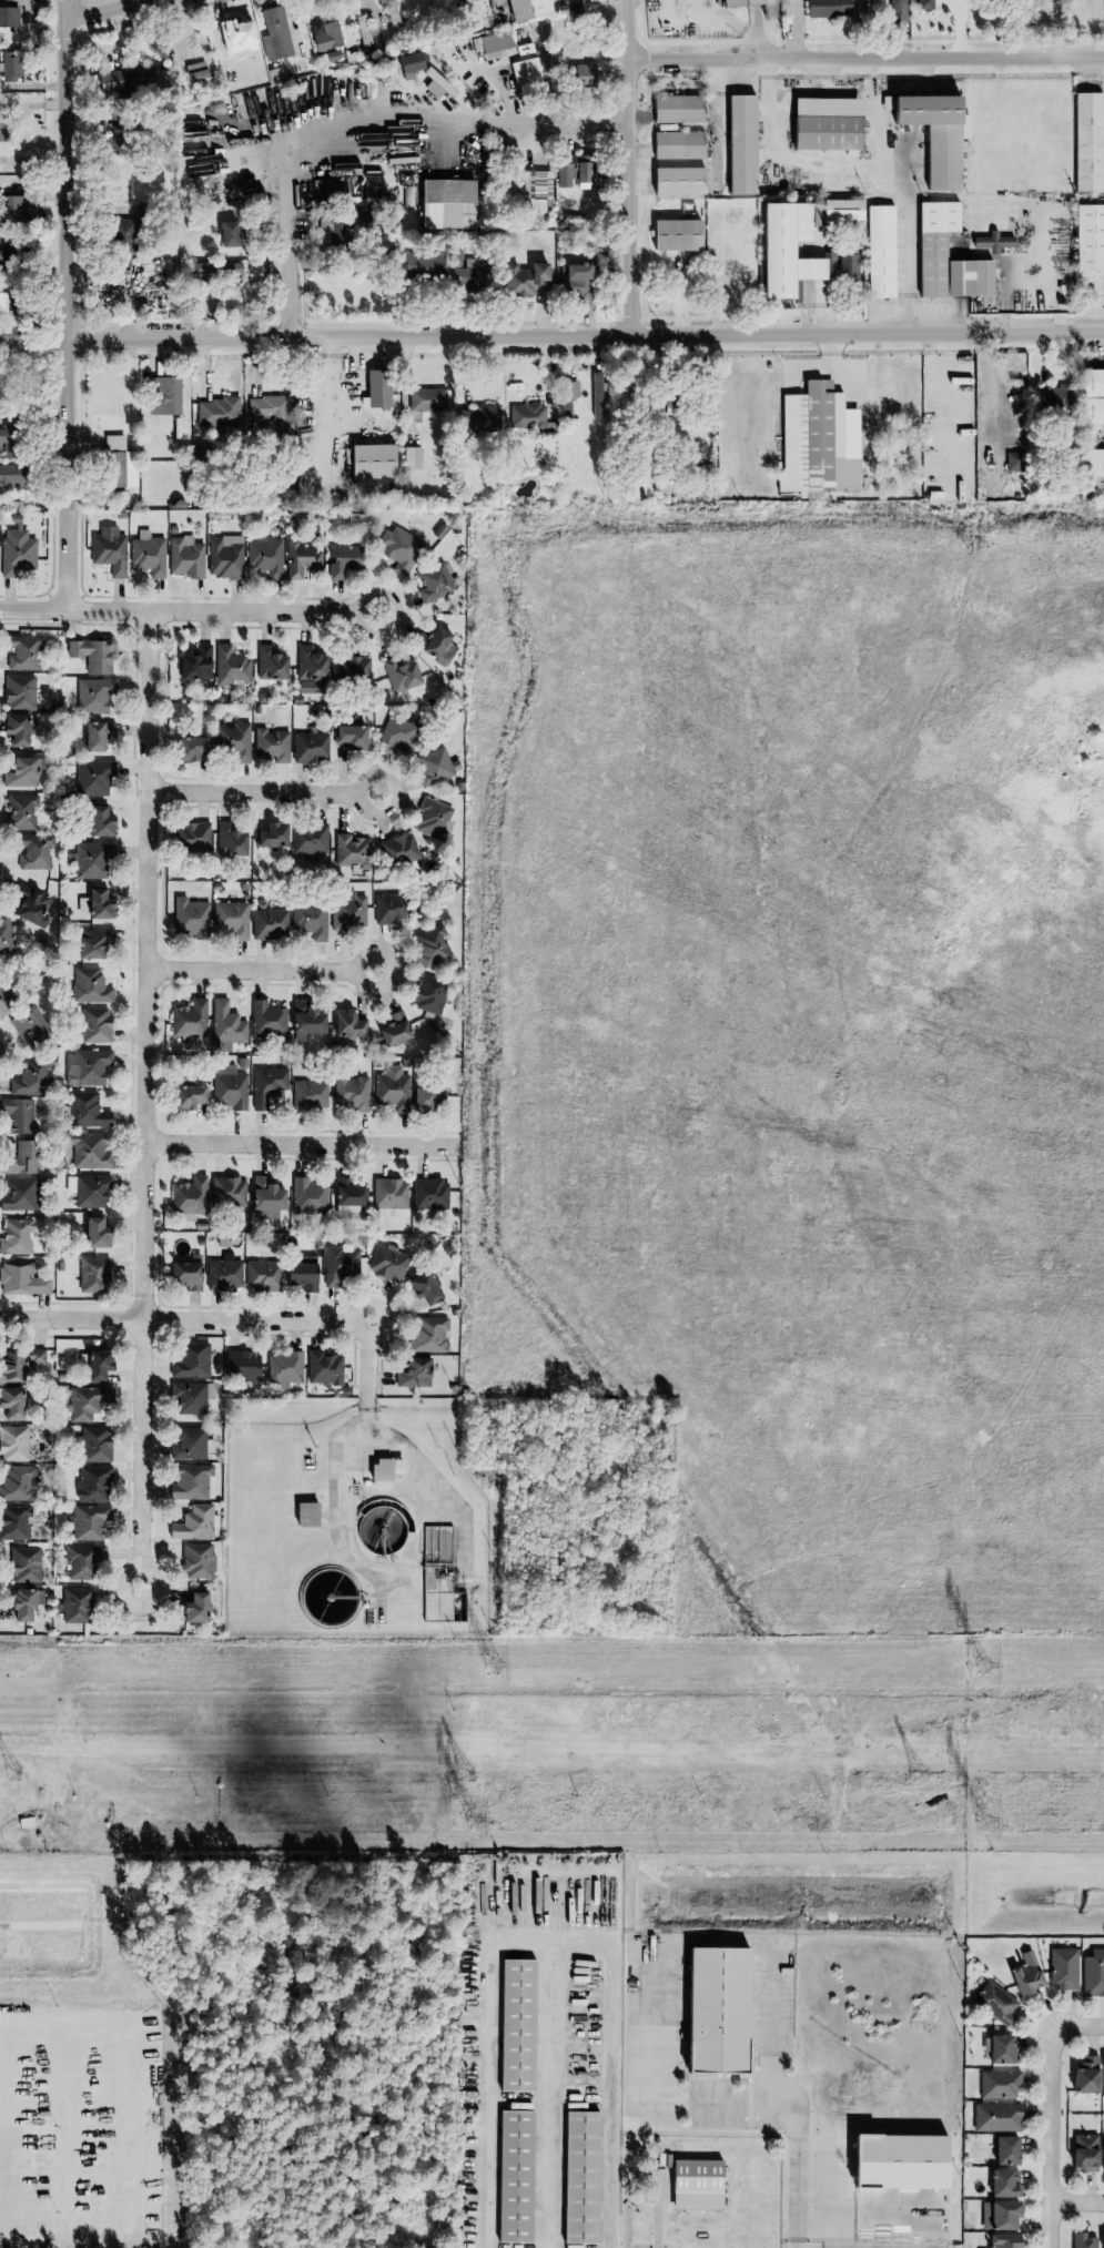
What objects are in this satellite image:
building: (457, 0)
building: (924, 4)
building: (828, 8)
building: (525, 9)
road: (105, 10)
building: (388, 11)
building: (895, 11)
building: (768, 13)
building: (9, 16)
building: (363, 31)
building: (274, 34)
building: (325, 36)
building: (492, 44)
building: (330, 57)
road: (865, 58)
building: (407, 63)
building: (10, 67)
building: (524, 73)
building: (581, 73)
building: (195, 74)
building: (125, 79)
road: (911, 85)
building: (676, 110)
road: (879, 112)
road: (369, 115)
road: (559, 123)
building: (824, 124)
building: (3, 132)
building: (934, 135)
building: (1086, 142)
building: (108, 145)
building: (677, 145)
building: (739, 145)
road: (628, 166)
building: (211, 169)
building: (570, 170)
road: (860, 171)
building: (676, 182)
building: (535, 190)
building: (445, 205)
building: (13, 209)
building: (225, 235)
building: (675, 235)
building: (336, 236)
building: (1088, 239)
building: (992, 242)
building: (931, 246)
building: (11, 249)
building: (783, 251)
building: (879, 252)
road: (284, 257)
building: (423, 265)
building: (215, 270)
building: (253, 272)
building: (464, 273)
building: (524, 280)
building: (574, 281)
building: (12, 305)
road: (67, 305)
building: (12, 335)
road: (585, 335)
road: (330, 384)
building: (376, 389)
building: (163, 396)
building: (595, 396)
building: (1092, 397)
building: (426, 401)
building: (269, 413)
building: (943, 413)
building: (217, 414)
building: (506, 418)
building: (11, 441)
building: (411, 459)
building: (114, 462)
building: (1013, 462)
building: (369, 463)
building: (1093, 464)
building: (14, 475)
building: (16, 549)
building: (398, 549)
building: (109, 550)
building: (146, 554)
building: (264, 556)
building: (184, 557)
building: (224, 557)
building: (300, 559)
building: (342, 560)
building: (433, 583)
road: (191, 611)
building: (437, 646)
building: (22, 652)
building: (92, 654)
building: (195, 664)
building: (270, 664)
building: (231, 668)
building: (352, 669)
building: (308, 670)
building: (399, 675)
building: (18, 692)
building: (92, 695)
building: (16, 728)
building: (399, 733)
building: (95, 736)
building: (348, 737)
building: (233, 741)
building: (270, 746)
building: (308, 747)
building: (189, 748)
building: (434, 767)
building: (19, 772)
building: (92, 778)
road: (261, 793)
building: (19, 811)
building: (429, 818)
building: (98, 821)
building: (270, 836)
building: (192, 837)
building: (308, 839)
building: (227, 840)
building: (399, 849)
building: (351, 851)
building: (90, 860)
building: (98, 903)
building: (30, 908)
building: (389, 909)
building: (347, 912)
building: (189, 918)
building: (230, 919)
building: (308, 921)
building: (267, 923)
building: (6, 934)
building: (92, 942)
building: (433, 948)
road: (259, 971)
building: (89, 986)
building: (429, 993)
building: (4, 996)
building: (266, 1020)
building: (188, 1022)
building: (27, 1024)
building: (225, 1024)
building: (93, 1025)
building: (346, 1025)
building: (393, 1030)
building: (85, 1067)
building: (29, 1077)
building: (265, 1085)
building: (227, 1088)
building: (391, 1090)
building: (348, 1092)
building: (308, 1095)
building: (185, 1097)
building: (426, 1097)
road: (144, 1101)
building: (85, 1111)
building: (18, 1116)
road: (302, 1144)
building: (87, 1150)
building: (21, 1158)
building: (88, 1191)
building: (227, 1192)
building: (389, 1194)
building: (429, 1194)
building: (19, 1195)
building: (189, 1196)
building: (307, 1197)
building: (346, 1197)
building: (264, 1198)
building: (93, 1233)
building: (16, 1236)
building: (386, 1263)
building: (340, 1265)
building: (184, 1274)
building: (223, 1274)
building: (92, 1275)
building: (261, 1275)
building: (300, 1275)
building: (21, 1279)
building: (423, 1288)
road: (222, 1320)
building: (429, 1334)
building: (32, 1357)
building: (190, 1360)
building: (95, 1366)
building: (240, 1366)
building: (10, 1367)
building: (283, 1368)
building: (323, 1369)
building: (413, 1373)
building: (190, 1397)
building: (85, 1403)
building: (10, 1404)
building: (12, 1444)
building: (191, 1444)
building: (92, 1445)
road: (406, 1449)
building: (379, 1469)
building: (191, 1481)
building: (17, 1484)
building: (91, 1485)
building: (305, 1515)
building: (13, 1521)
building: (88, 1522)
building: (193, 1523)
building: (81, 1561)
building: (196, 1561)
building: (22, 1566)
building: (23, 1603)
building: (75, 1606)
building: (193, 1609)
power tower: (489, 1664)
power tower: (983, 1665)
power tower: (914, 1774)
power tower: (14, 1775)
power tower: (463, 1778)
power tower: (981, 1821)
power tower: (472, 1822)
road: (548, 1942)
building: (1062, 1968)
building: (1092, 1973)
building: (1025, 1974)
building: (995, 2002)
building: (713, 2008)
building: (515, 2024)
road: (1081, 2026)
building: (999, 2048)
building: (1085, 2075)
building: (1103, 2078)
building: (999, 2085)
road: (547, 2094)
road: (739, 2099)
building: (995, 2117)
road: (1052, 2138)
building: (1005, 2149)
building: (1084, 2151)
building: (1102, 2157)
building: (898, 2159)
building: (513, 2176)
building: (579, 2177)
building: (1004, 2183)
building: (695, 2184)
road: (1077, 2203)
road: (841, 2211)
building: (999, 2215)
road: (659, 2219)
building: (1003, 2240)
building: (1102, 2240)

